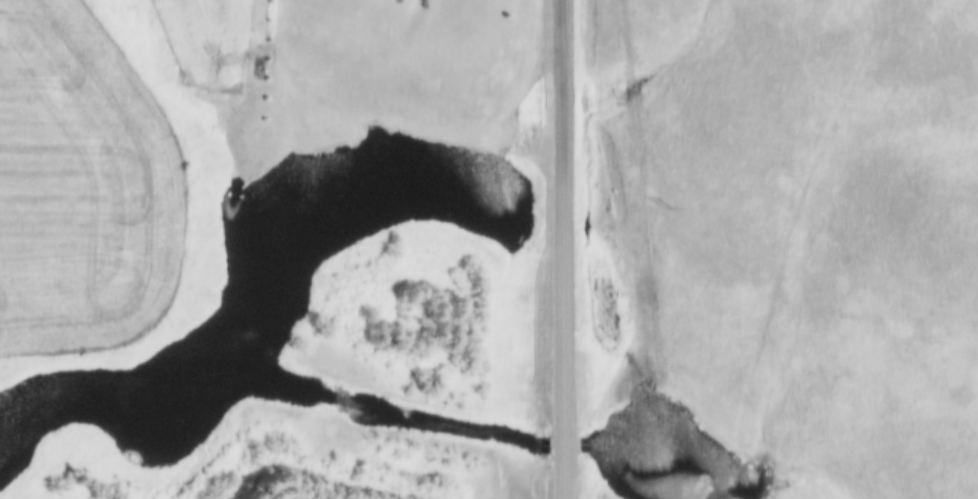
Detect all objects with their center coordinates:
power tower: (667, 207)
road: (564, 249)

